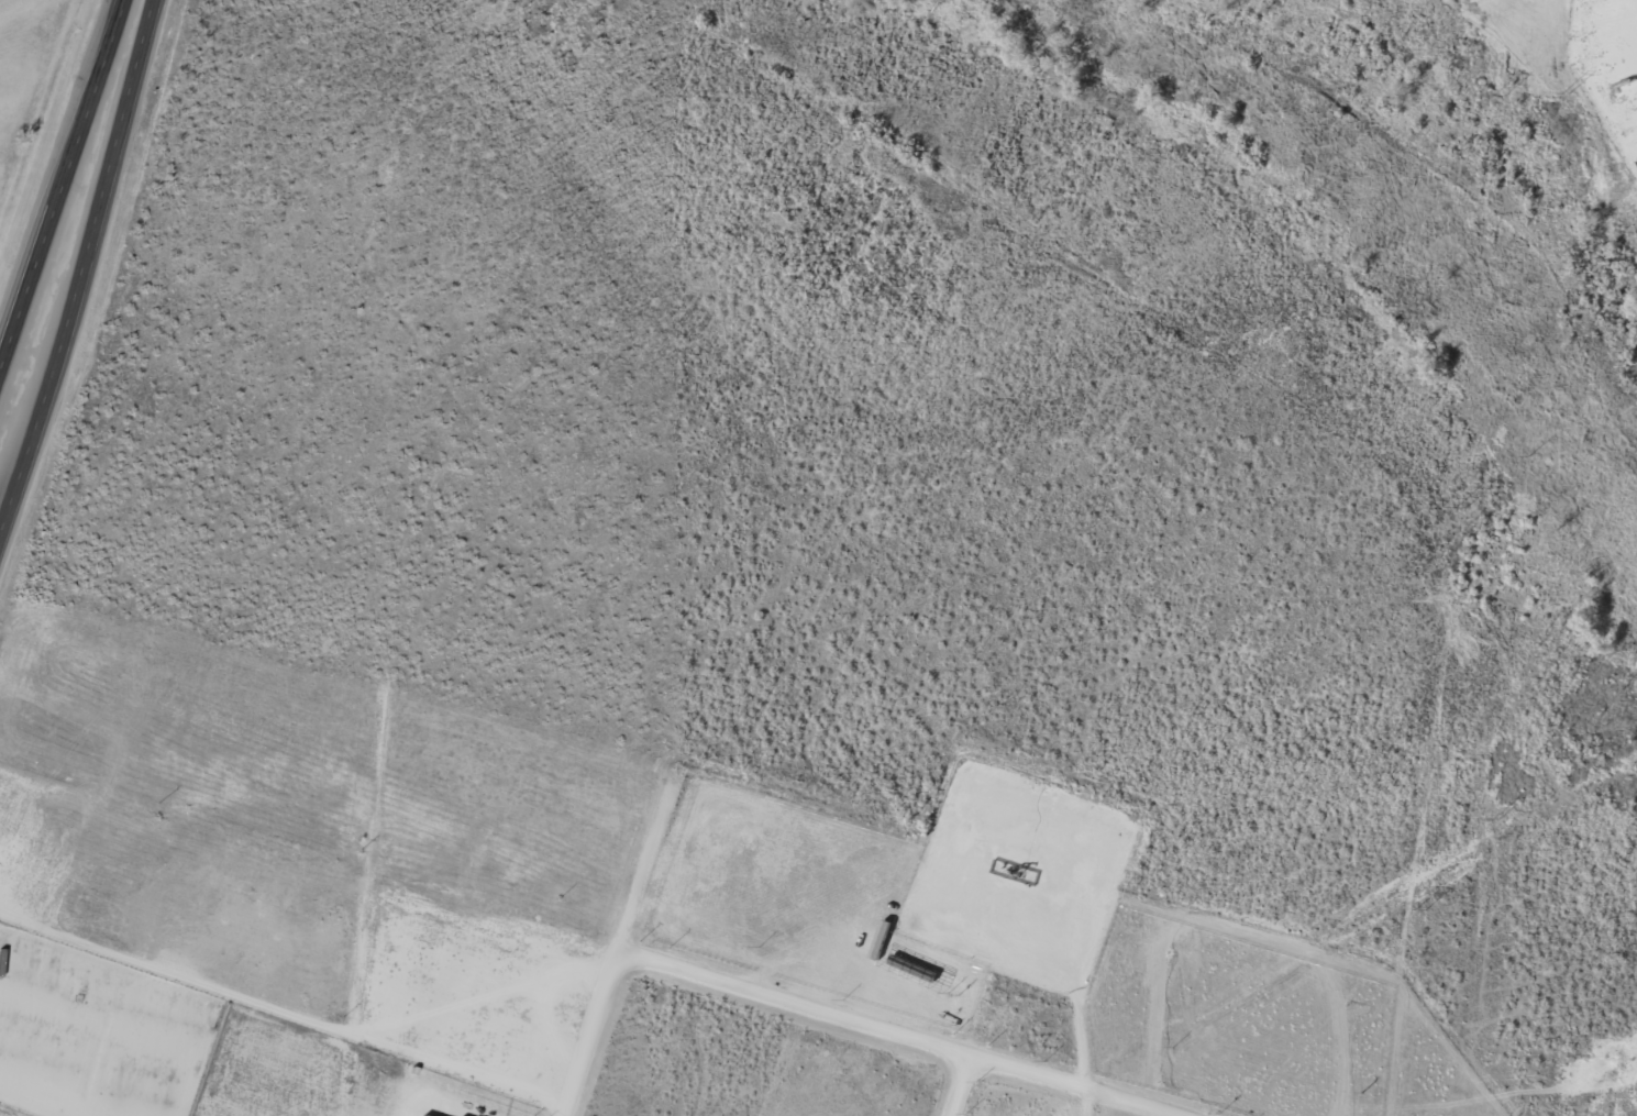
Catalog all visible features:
park: (75, 2)
power tower: (1566, 93)
power tower: (1500, 99)
road: (64, 188)
road: (79, 263)
power tower: (1526, 455)
power tower: (1458, 507)
road: (1, 517)
power tower: (1493, 820)
petroleum well: (1010, 863)
power tower: (1418, 911)
road: (622, 941)
road: (477, 998)
road: (281, 1006)
road: (899, 1032)
road: (962, 1085)
building: (425, 1115)

